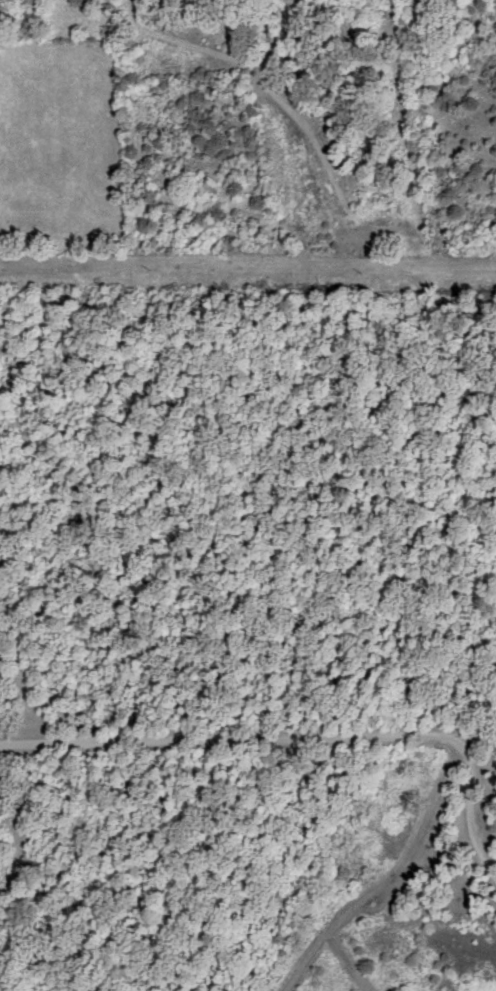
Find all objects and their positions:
road: (223, 742)
road: (466, 780)

